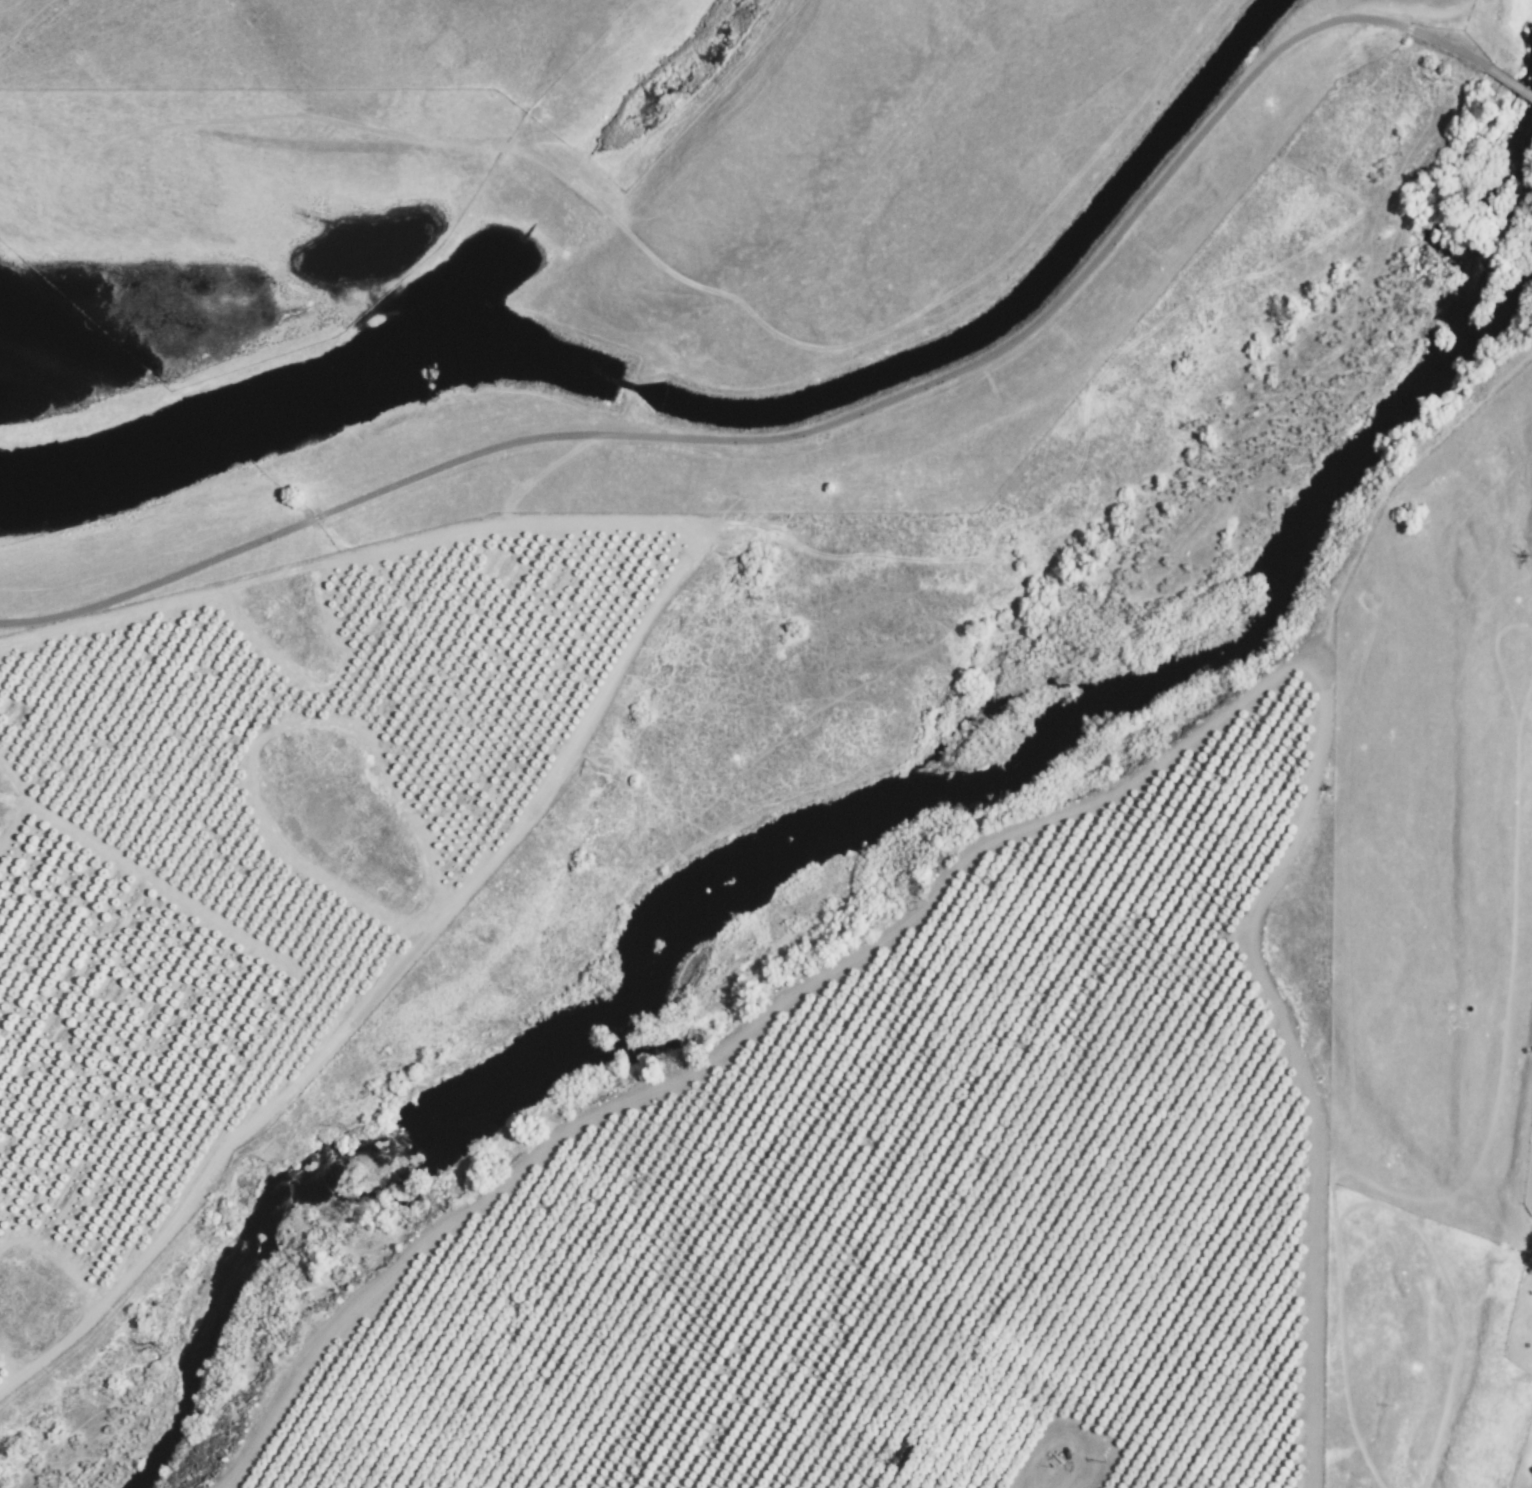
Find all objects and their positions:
road: (1427, 10)
road: (1459, 57)
road: (668, 268)
road: (759, 440)
river: (857, 849)

